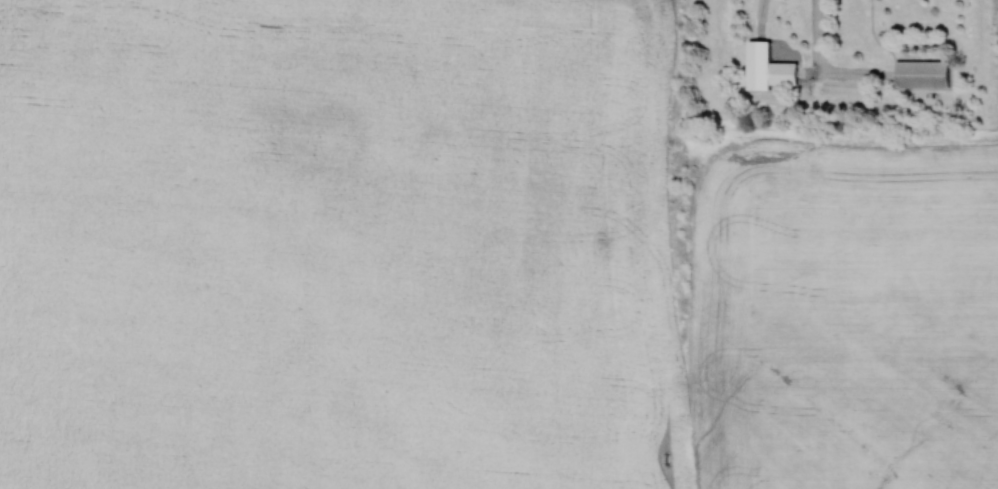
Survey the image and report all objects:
building: (768, 67)
building: (923, 73)
crop: (845, 317)

